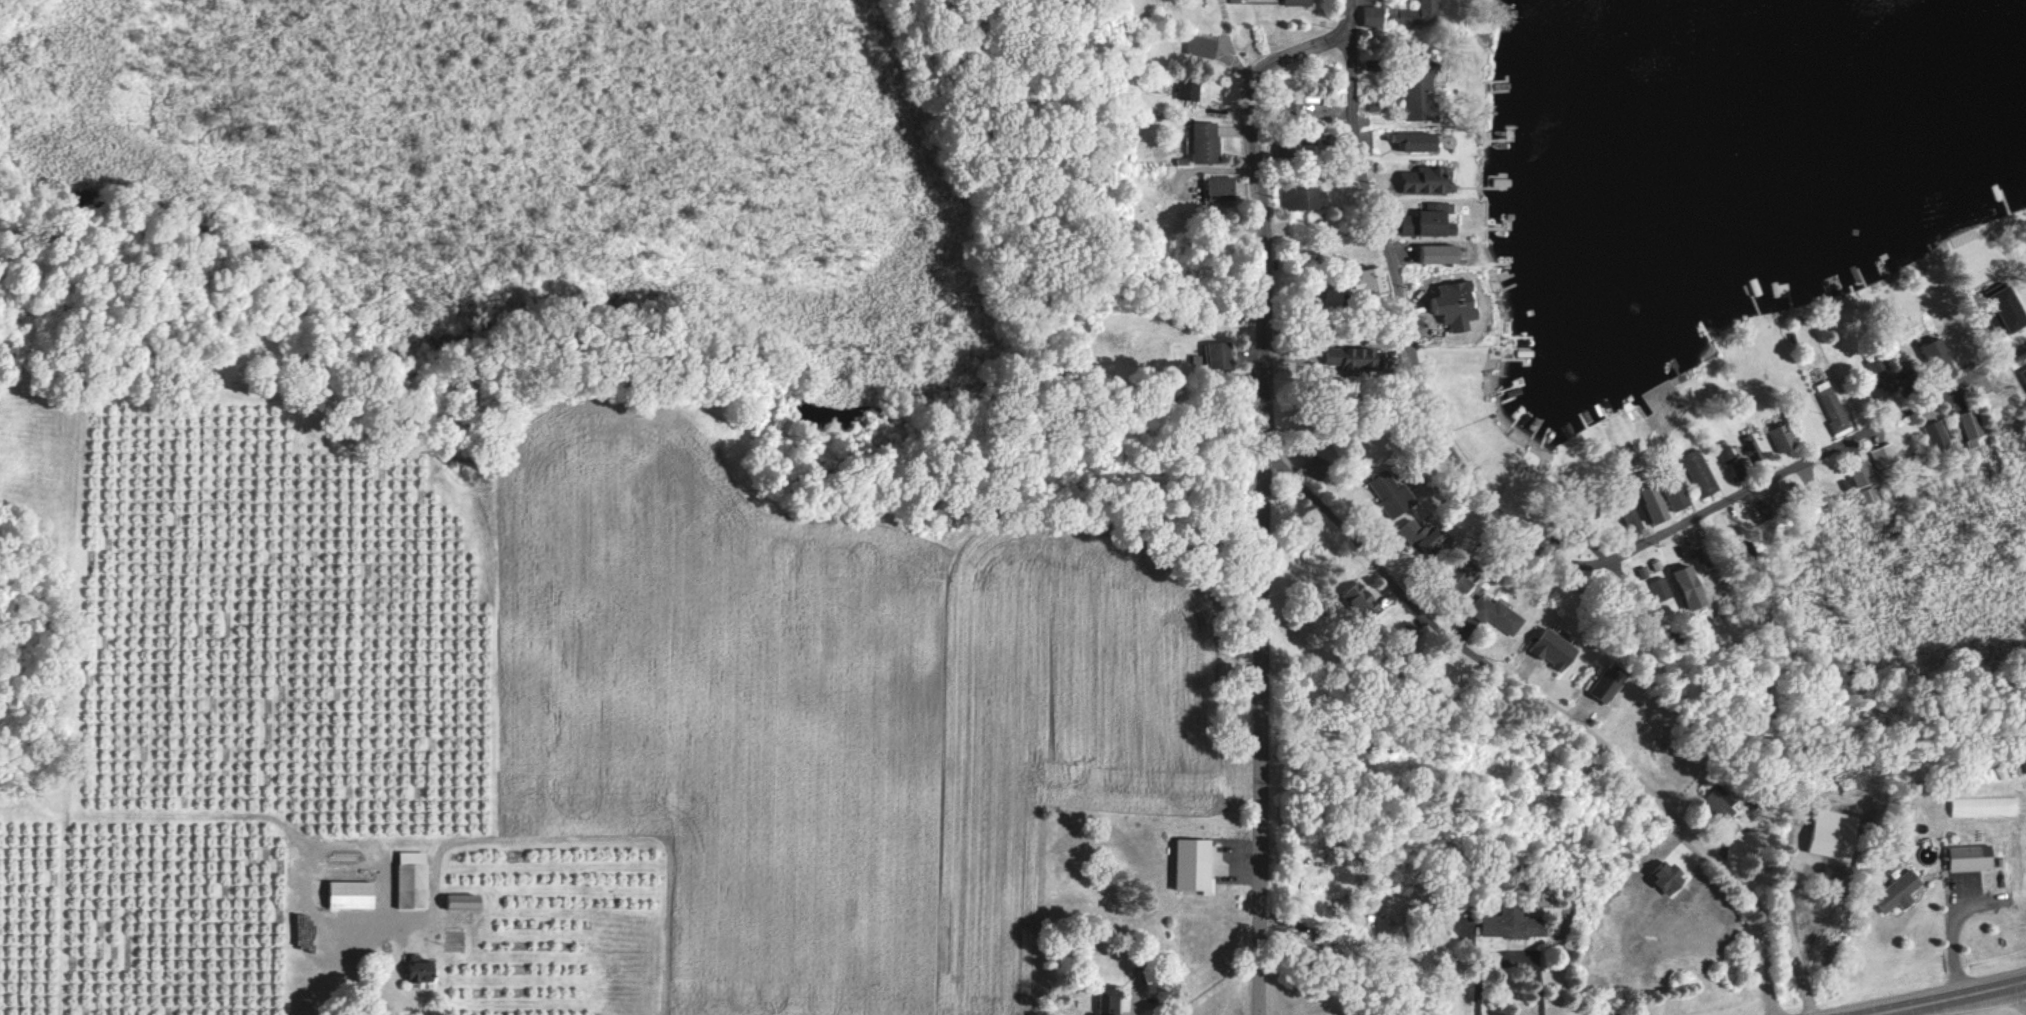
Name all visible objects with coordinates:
building: (1296, 2)
road: (1347, 13)
building: (1417, 14)
building: (1370, 16)
building: (1200, 46)
building: (1186, 89)
building: (1419, 90)
building: (1414, 141)
building: (1203, 142)
building: (1424, 179)
building: (1219, 189)
building: (1300, 198)
building: (1429, 220)
building: (1439, 253)
building: (1367, 280)
building: (1454, 304)
building: (2004, 308)
building: (1350, 357)
building: (1938, 358)
building: (2023, 374)
building: (1881, 378)
building: (1830, 407)
building: (1969, 427)
building: (1934, 434)
building: (1780, 438)
building: (1750, 448)
building: (1724, 453)
building: (1881, 455)
building: (1735, 469)
building: (1698, 472)
building: (1858, 474)
road: (1264, 490)
building: (1388, 494)
building: (1865, 495)
building: (1675, 496)
building: (1653, 504)
building: (1419, 535)
road: (1528, 544)
building: (1456, 582)
building: (1689, 587)
building: (1658, 589)
building: (1361, 599)
building: (1494, 614)
building: (1551, 650)
building: (1605, 682)
road: (1559, 709)
building: (1718, 803)
building: (1983, 806)
building: (1833, 835)
building: (1673, 855)
building: (1969, 857)
building: (1191, 865)
building: (1672, 874)
building: (410, 880)
building: (1896, 893)
building: (349, 894)
building: (462, 902)
building: (1510, 924)
road: (1950, 950)
road: (1505, 951)
road: (354, 969)
building: (418, 969)
road: (1942, 998)
building: (1108, 1003)

